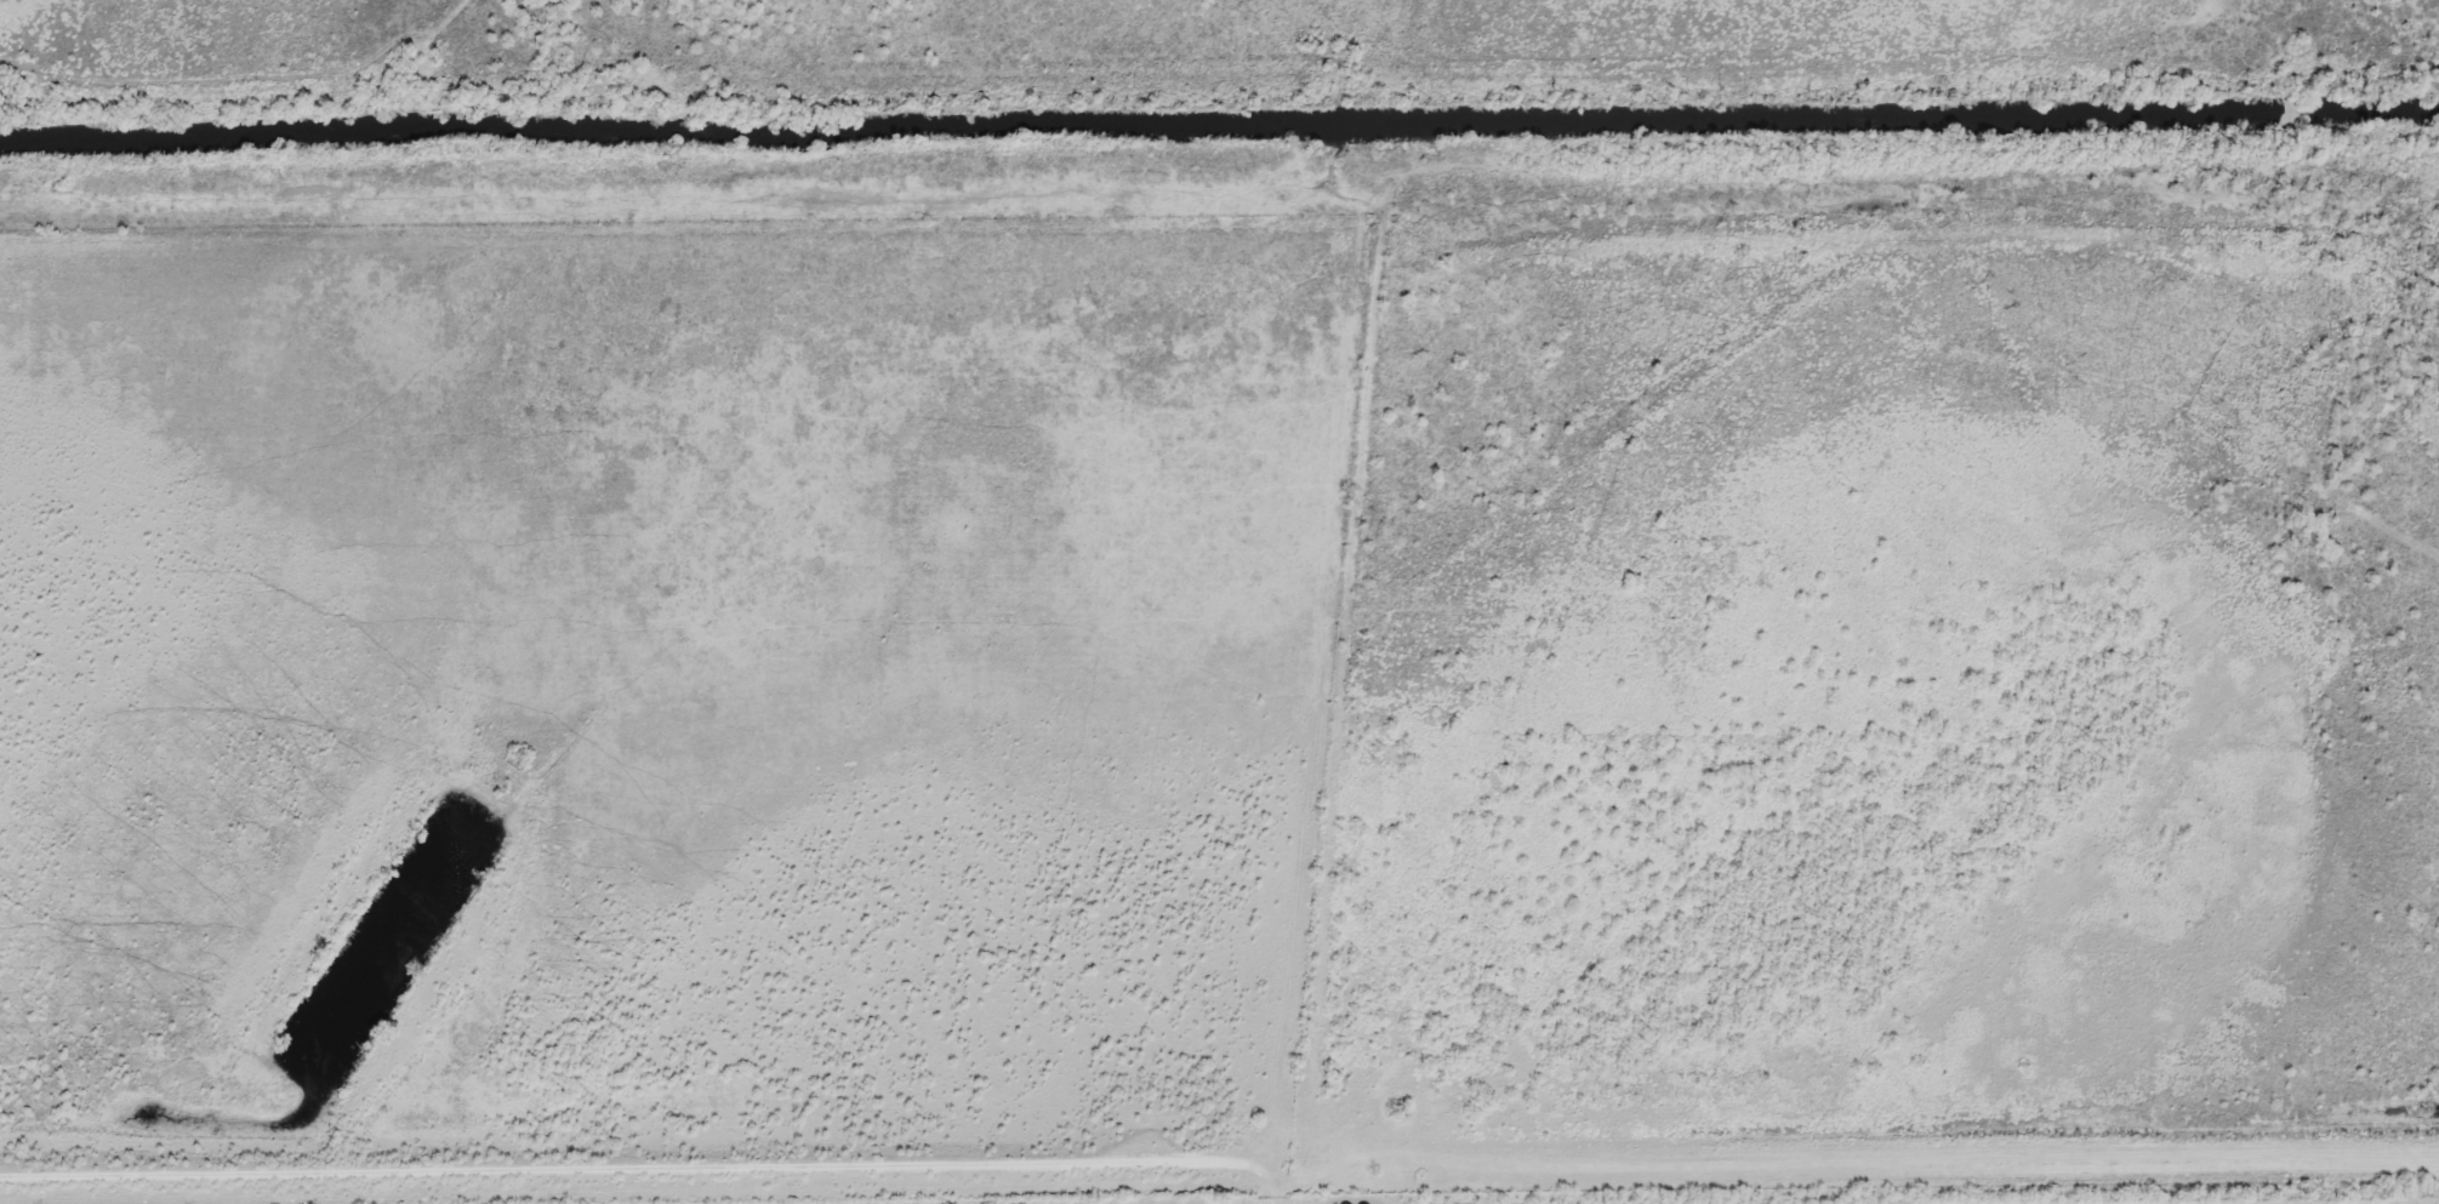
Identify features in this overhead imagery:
road: (598, 1169)

